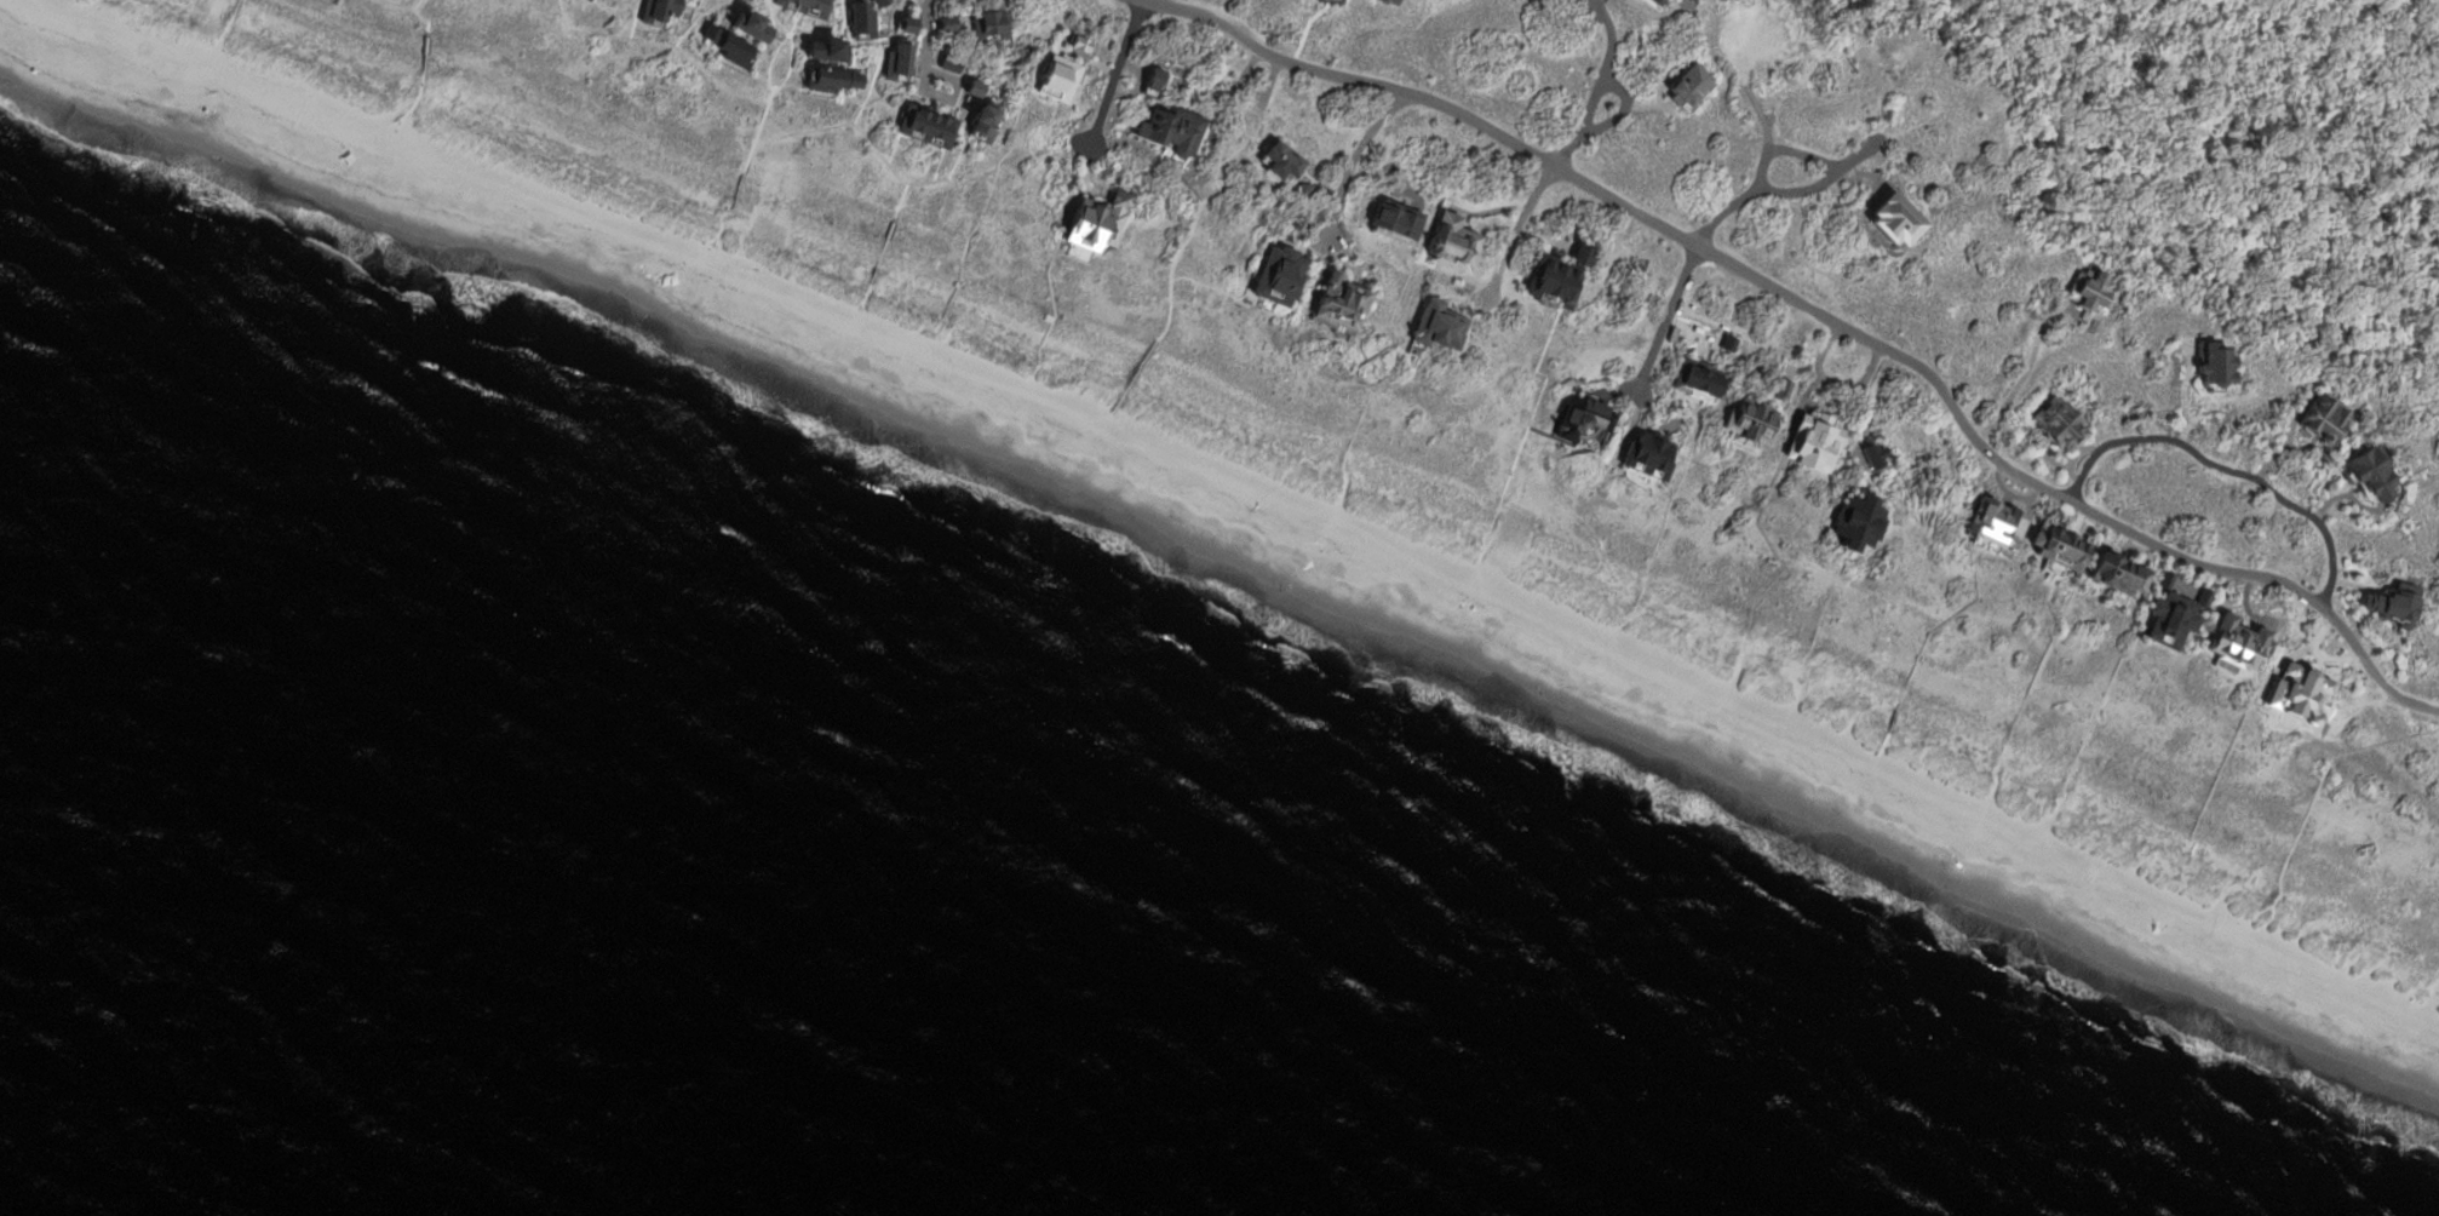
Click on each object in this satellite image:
building: (584, 0)
road: (1143, 1)
building: (1331, 1)
building: (1382, 1)
building: (1686, 1)
building: (1652, 2)
road: (2434, 2)
building: (876, 4)
building: (803, 5)
building: (654, 11)
building: (857, 18)
building: (902, 23)
building: (942, 24)
building: (746, 25)
building: (986, 25)
road: (2408, 27)
road: (925, 34)
road: (1609, 35)
building: (1746, 35)
building: (1075, 45)
building: (728, 48)
building: (820, 50)
building: (231, 52)
building: (1893, 57)
building: (894, 59)
building: (947, 64)
building: (1178, 70)
road: (1115, 73)
building: (1152, 79)
building: (825, 80)
building: (1056, 80)
building: (1686, 86)
building: (970, 90)
road: (948, 97)
road: (1592, 103)
road: (1624, 110)
building: (979, 122)
building: (924, 125)
building: (1169, 132)
road: (1497, 133)
road: (1569, 149)
building: (1279, 161)
road: (1354, 161)
road: (1820, 162)
building: (1304, 191)
road: (1723, 213)
building: (1090, 228)
road: (1515, 231)
building: (1450, 242)
building: (1276, 274)
building: (1556, 275)
building: (2089, 289)
building: (1339, 305)
road: (1665, 319)
building: (1435, 325)
road: (1859, 337)
building: (1728, 344)
building: (2214, 361)
building: (1695, 382)
road: (1832, 384)
building: (1780, 389)
building: (2325, 418)
building: (1751, 419)
building: (1582, 420)
building: (2062, 424)
building: (1813, 443)
building: (1646, 455)
building: (1872, 455)
road: (2226, 468)
building: (2369, 474)
building: (1855, 522)
building: (1992, 522)
road: (2153, 544)
building: (2058, 547)
building: (2114, 574)
building: (2393, 604)
building: (2174, 612)
road: (2325, 773)

